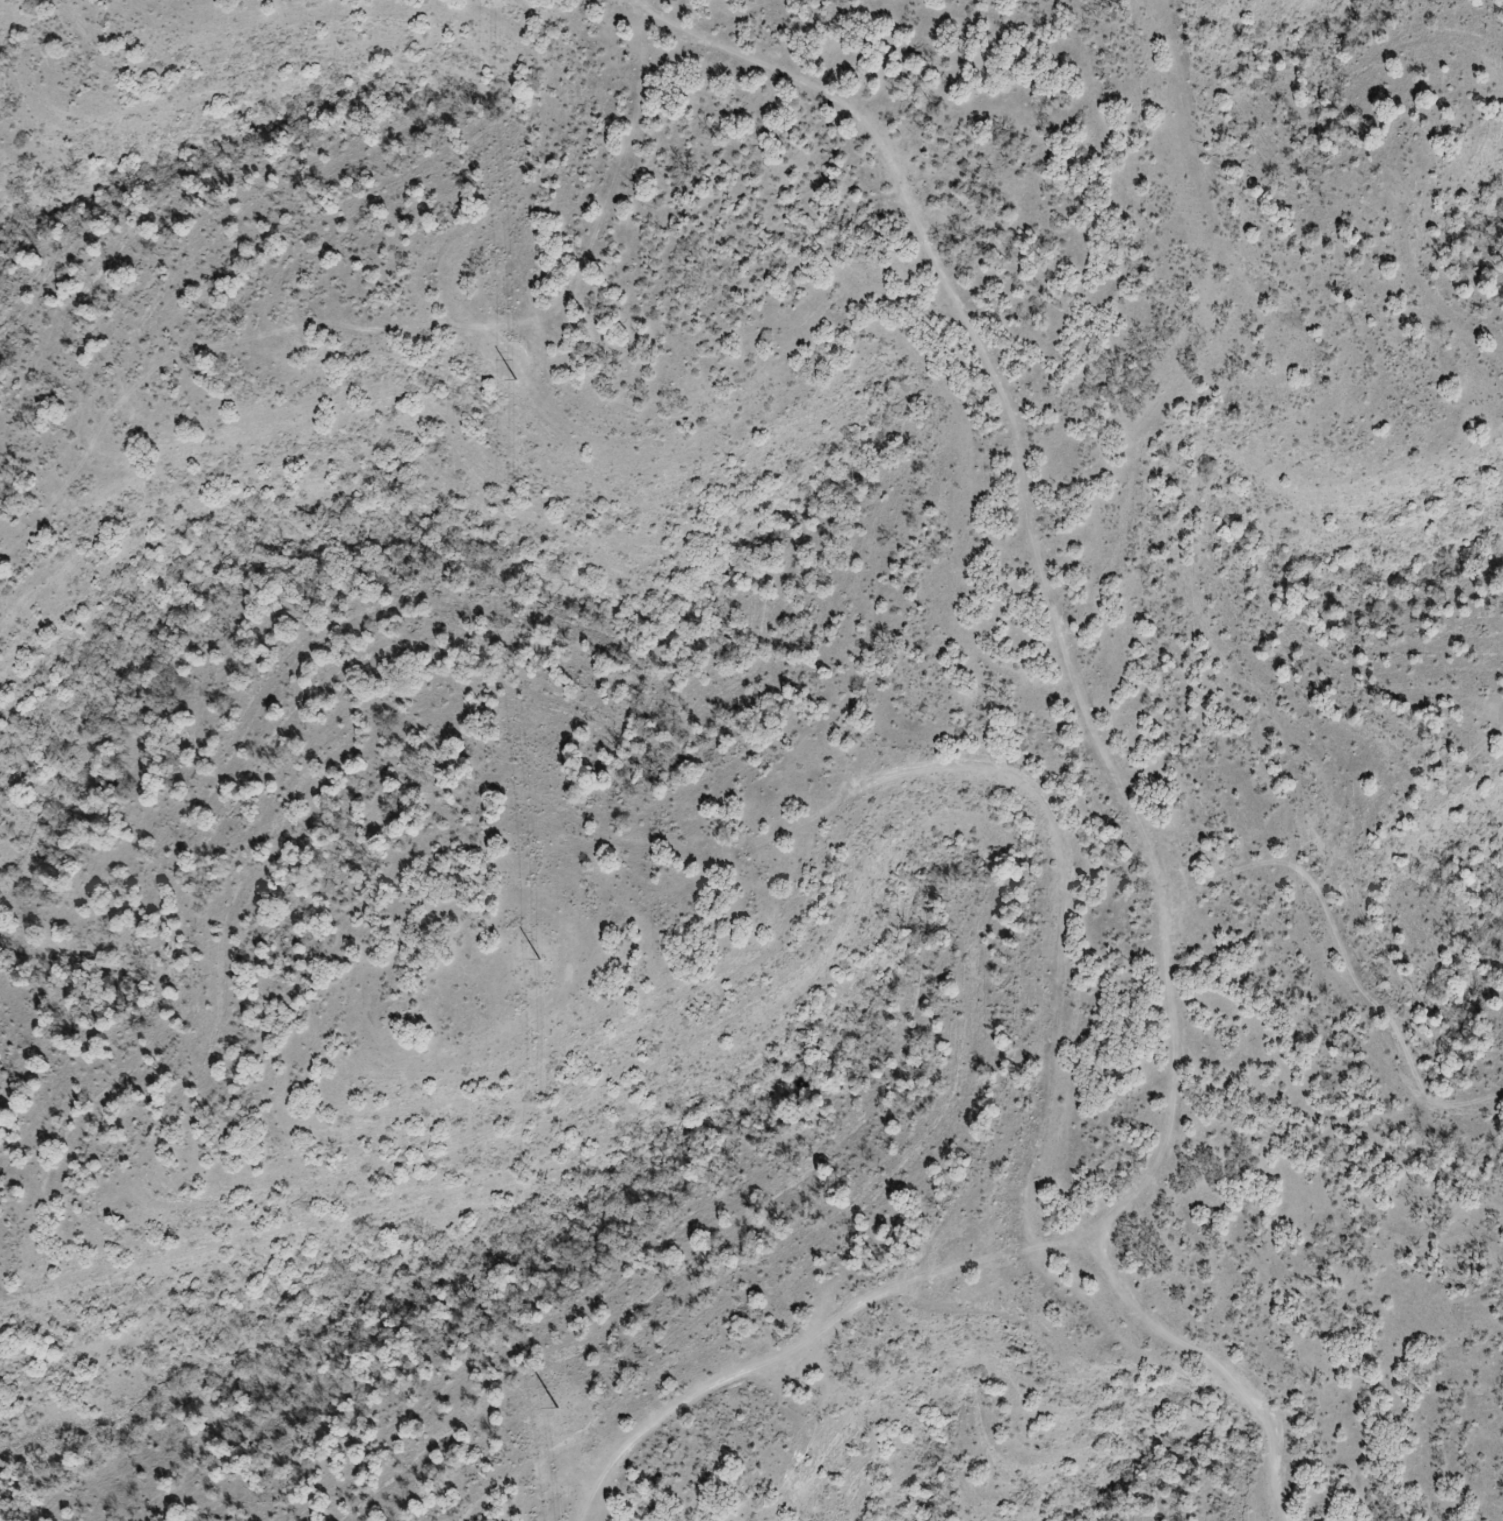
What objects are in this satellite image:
power tower: (518, 380)
power tower: (539, 961)
power tower: (558, 1410)

